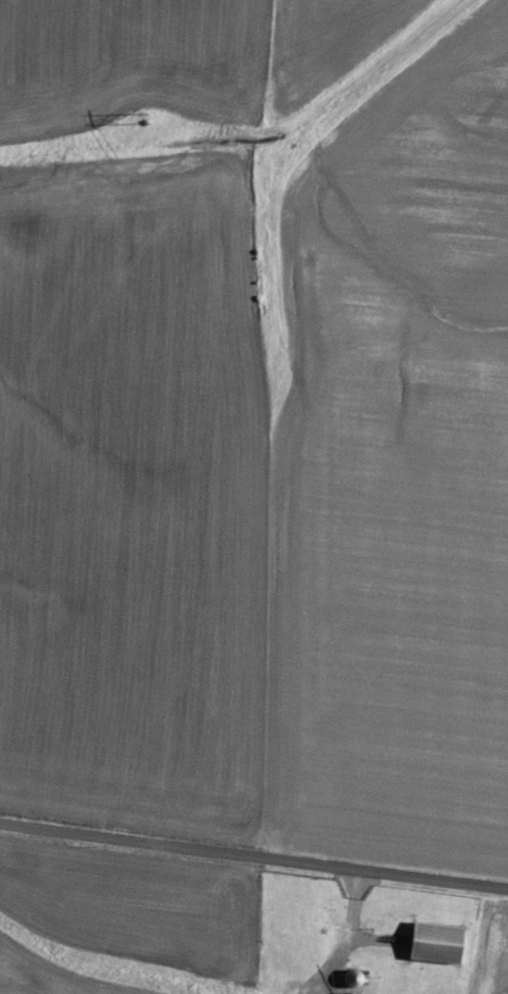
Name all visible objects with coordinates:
road: (254, 859)
building: (431, 942)

